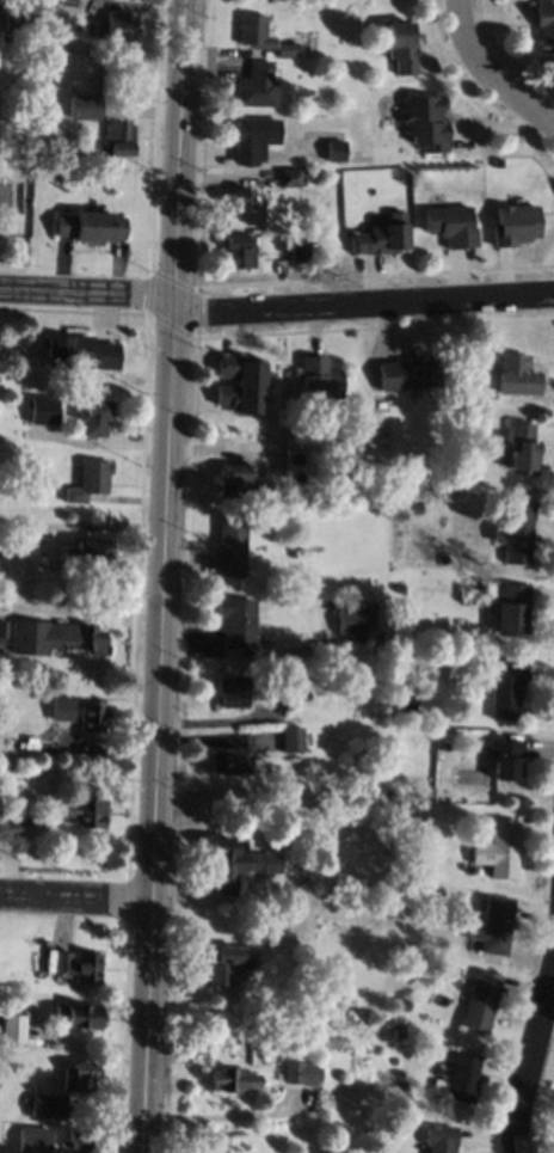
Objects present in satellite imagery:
building: (68, 2)
building: (18, 16)
building: (546, 23)
building: (121, 26)
building: (254, 31)
building: (404, 44)
building: (288, 48)
road: (490, 75)
building: (257, 86)
building: (346, 102)
building: (81, 110)
building: (425, 122)
building: (253, 137)
building: (119, 139)
building: (334, 149)
building: (293, 176)
building: (236, 198)
building: (257, 202)
building: (451, 225)
building: (90, 226)
building: (382, 238)
building: (238, 249)
building: (306, 252)
road: (87, 292)
road: (364, 306)
building: (79, 351)
building: (408, 373)
building: (516, 374)
building: (319, 379)
building: (240, 382)
building: (45, 407)
building: (92, 413)
building: (14, 441)
building: (24, 441)
building: (521, 447)
building: (244, 478)
building: (88, 480)
building: (413, 507)
building: (515, 532)
building: (230, 545)
building: (90, 554)
building: (16, 570)
road: (167, 576)
building: (510, 608)
building: (235, 621)
building: (350, 621)
building: (2, 628)
building: (41, 636)
building: (92, 639)
building: (284, 670)
building: (504, 685)
building: (230, 692)
building: (402, 699)
building: (92, 717)
building: (291, 738)
building: (443, 746)
building: (501, 756)
building: (362, 758)
building: (227, 759)
building: (82, 811)
building: (42, 818)
building: (10, 828)
building: (499, 848)
building: (294, 861)
building: (234, 864)
road: (76, 899)
building: (492, 925)
building: (62, 962)
building: (226, 962)
building: (87, 967)
building: (480, 999)
building: (75, 1014)
building: (12, 1028)
road: (530, 1061)
building: (300, 1072)
building: (76, 1075)
building: (462, 1075)
building: (230, 1079)
building: (45, 1104)
building: (31, 1135)
building: (438, 1137)
building: (75, 1141)

